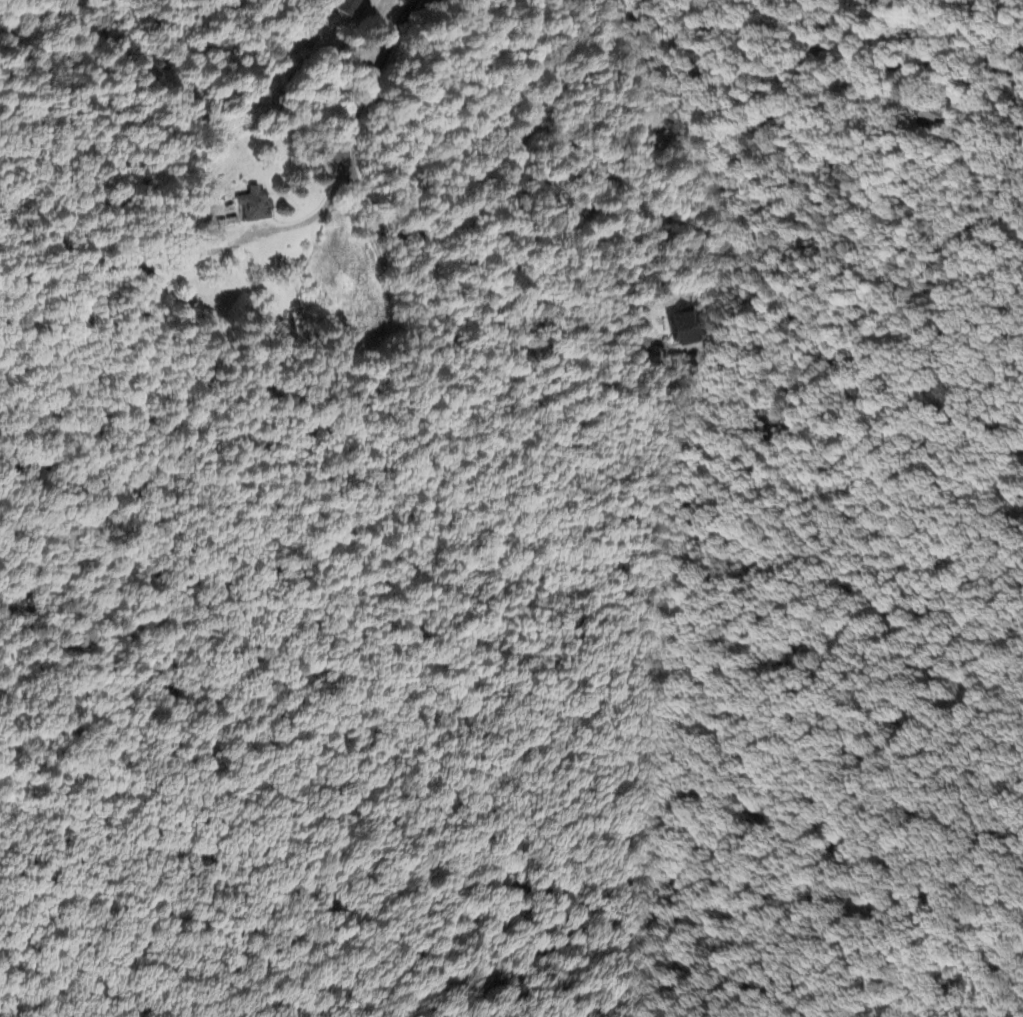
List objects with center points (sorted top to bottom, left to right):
building: (346, 6)
road: (358, 106)
building: (935, 109)
road: (525, 148)
road: (716, 189)
building: (251, 203)
building: (263, 295)
building: (685, 326)
road: (529, 381)
parking lot: (772, 428)
road: (897, 435)
park: (558, 714)

